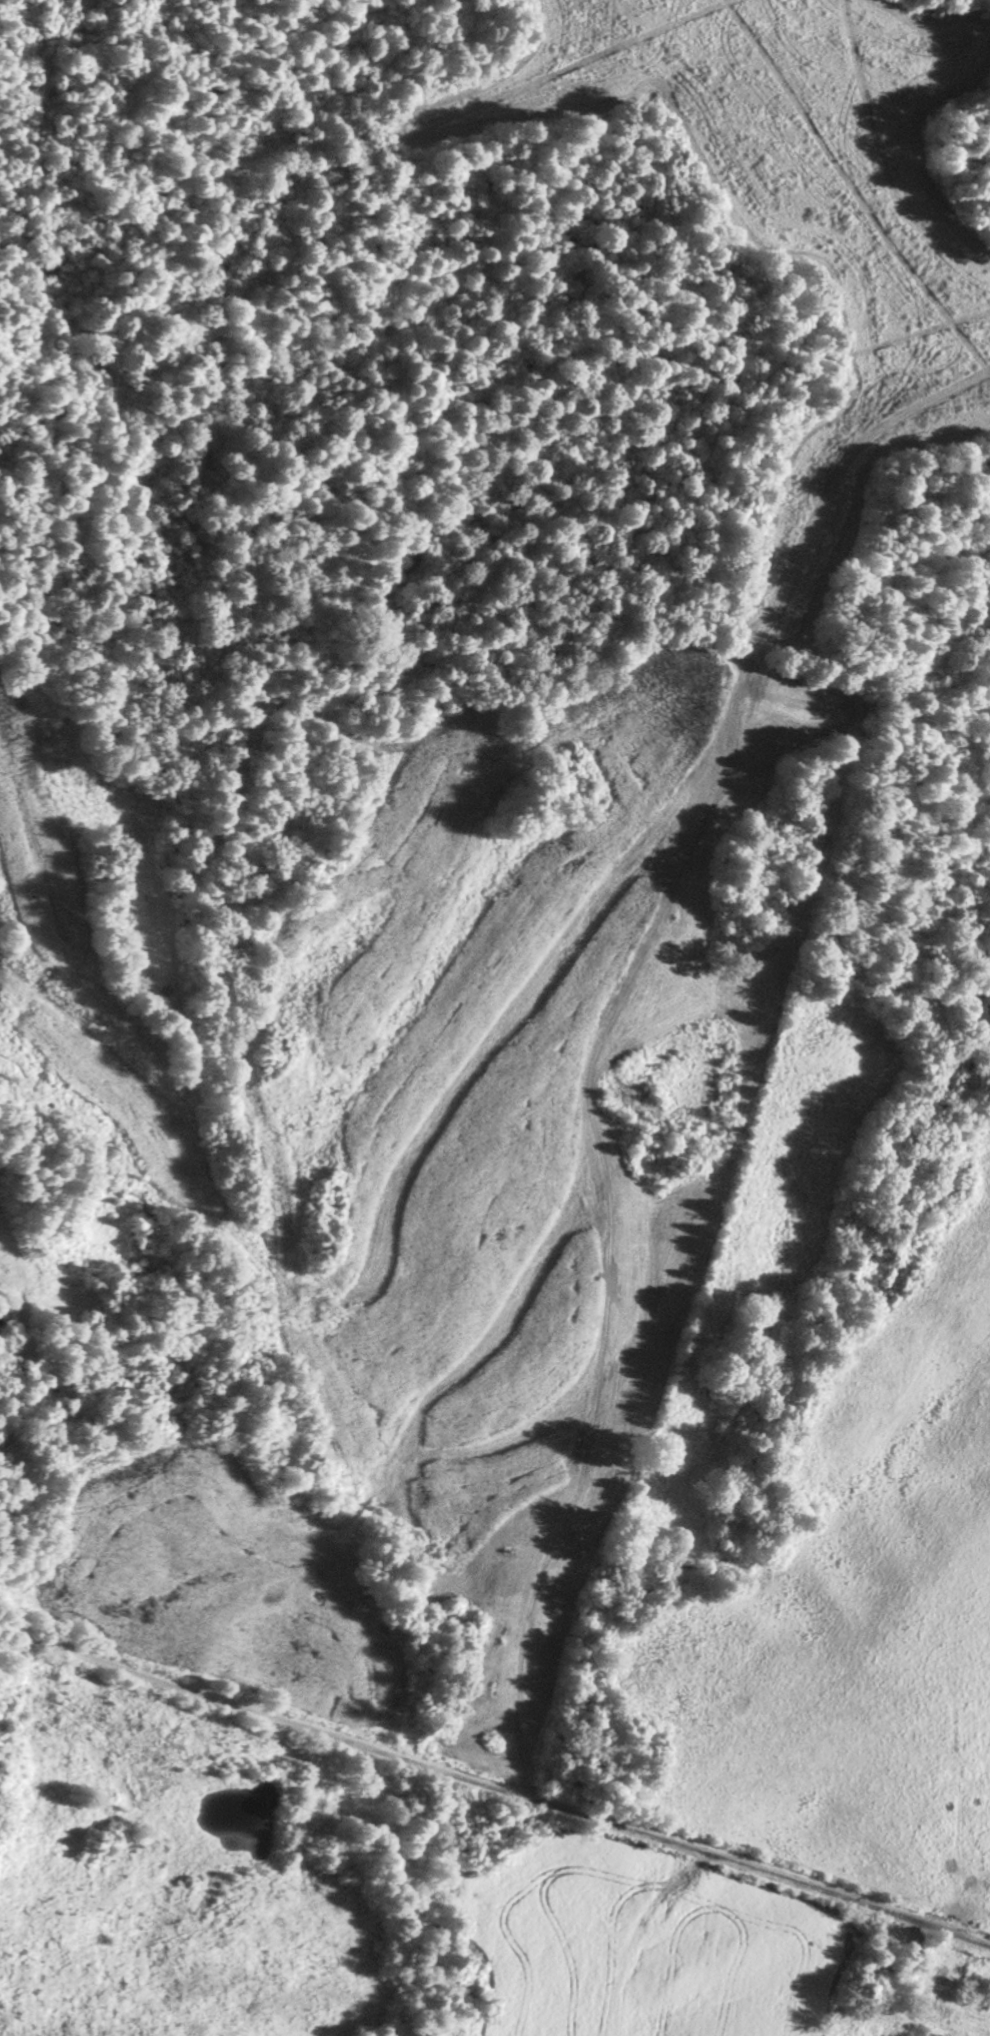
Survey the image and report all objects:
road: (494, 1788)

